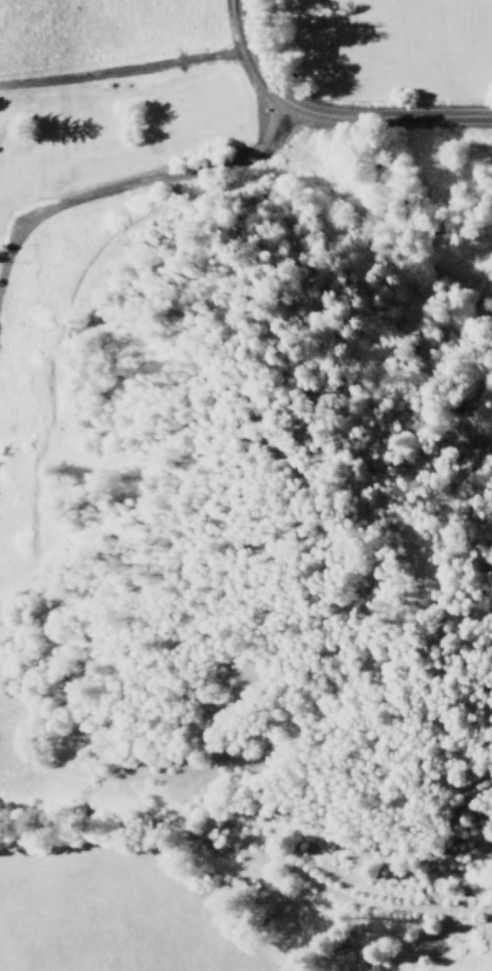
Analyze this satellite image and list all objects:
road: (119, 73)
road: (325, 114)
road: (136, 181)

